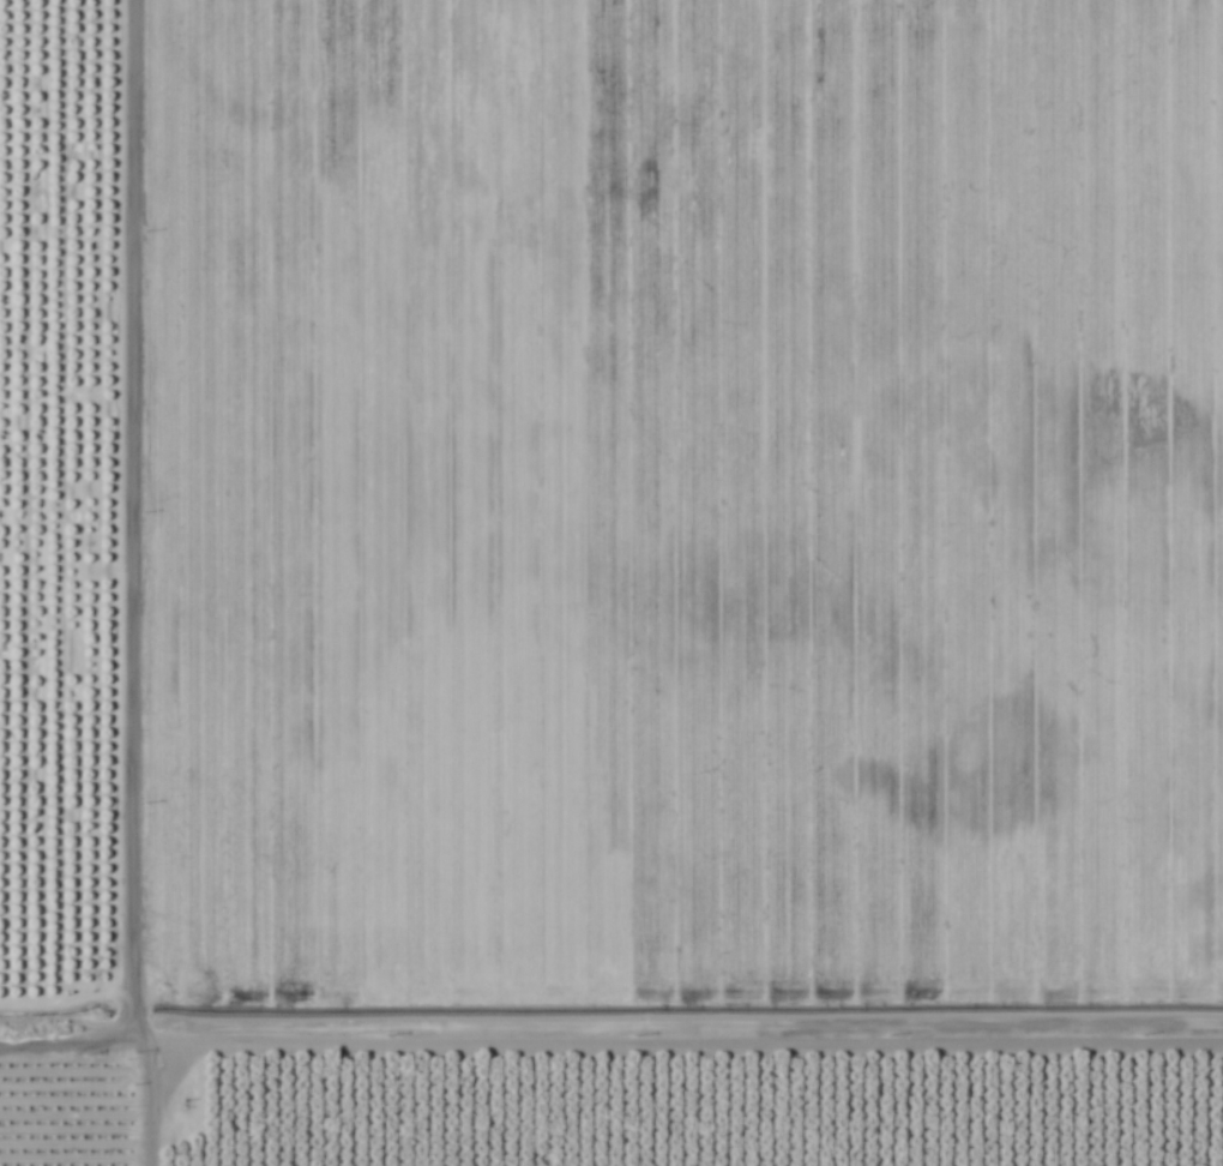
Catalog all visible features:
road: (179, 583)
crop: (611, 583)
road: (89, 1068)

